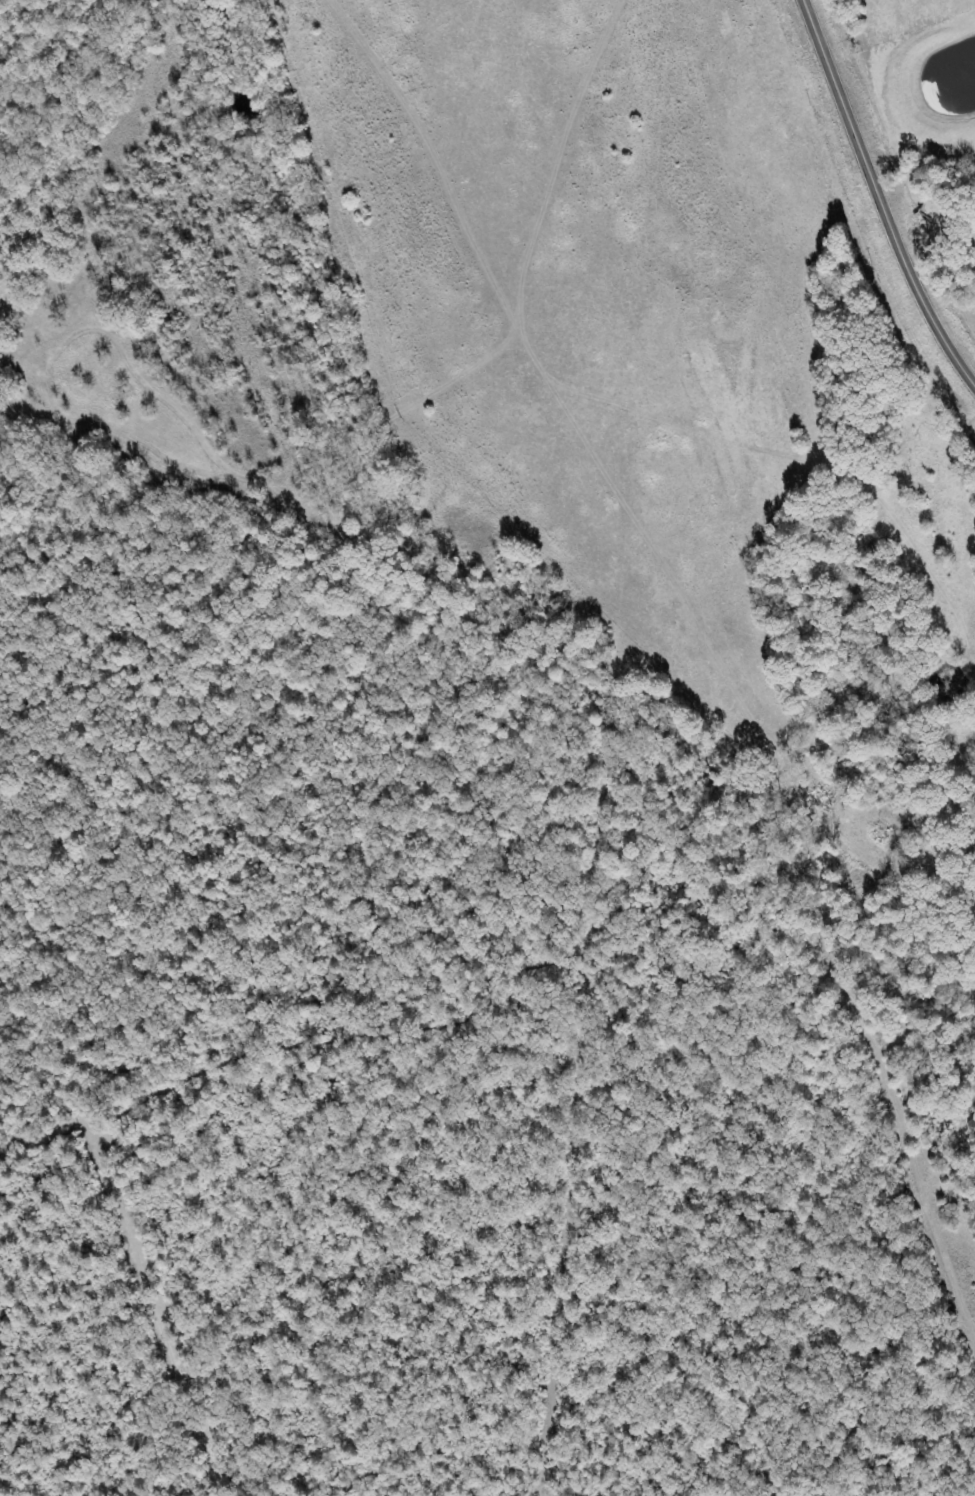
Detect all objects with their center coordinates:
road: (878, 196)

